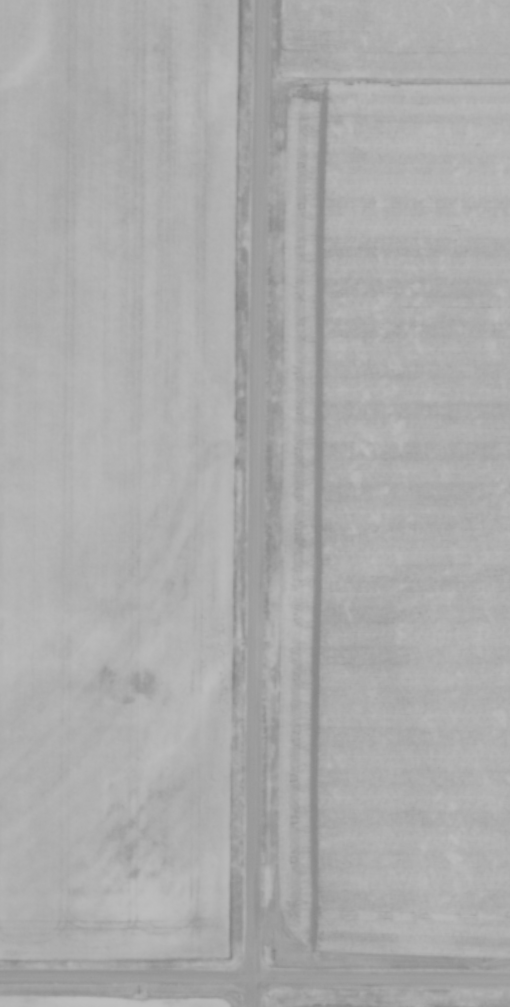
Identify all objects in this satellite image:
road: (255, 503)
road: (255, 983)

